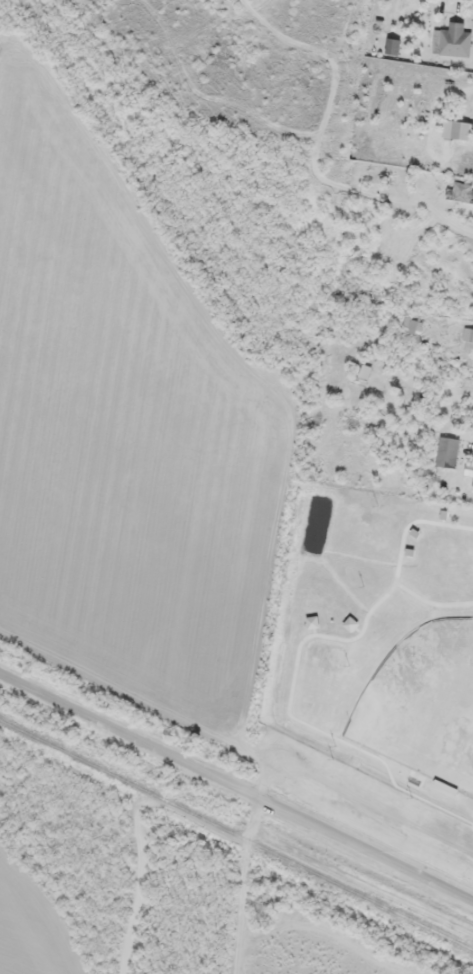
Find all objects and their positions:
building: (452, 40)
building: (392, 46)
building: (461, 131)
building: (460, 192)
road: (446, 221)
building: (413, 326)
building: (468, 338)
building: (447, 452)
road: (449, 455)
road: (237, 776)
railway: (237, 832)
road: (244, 880)

